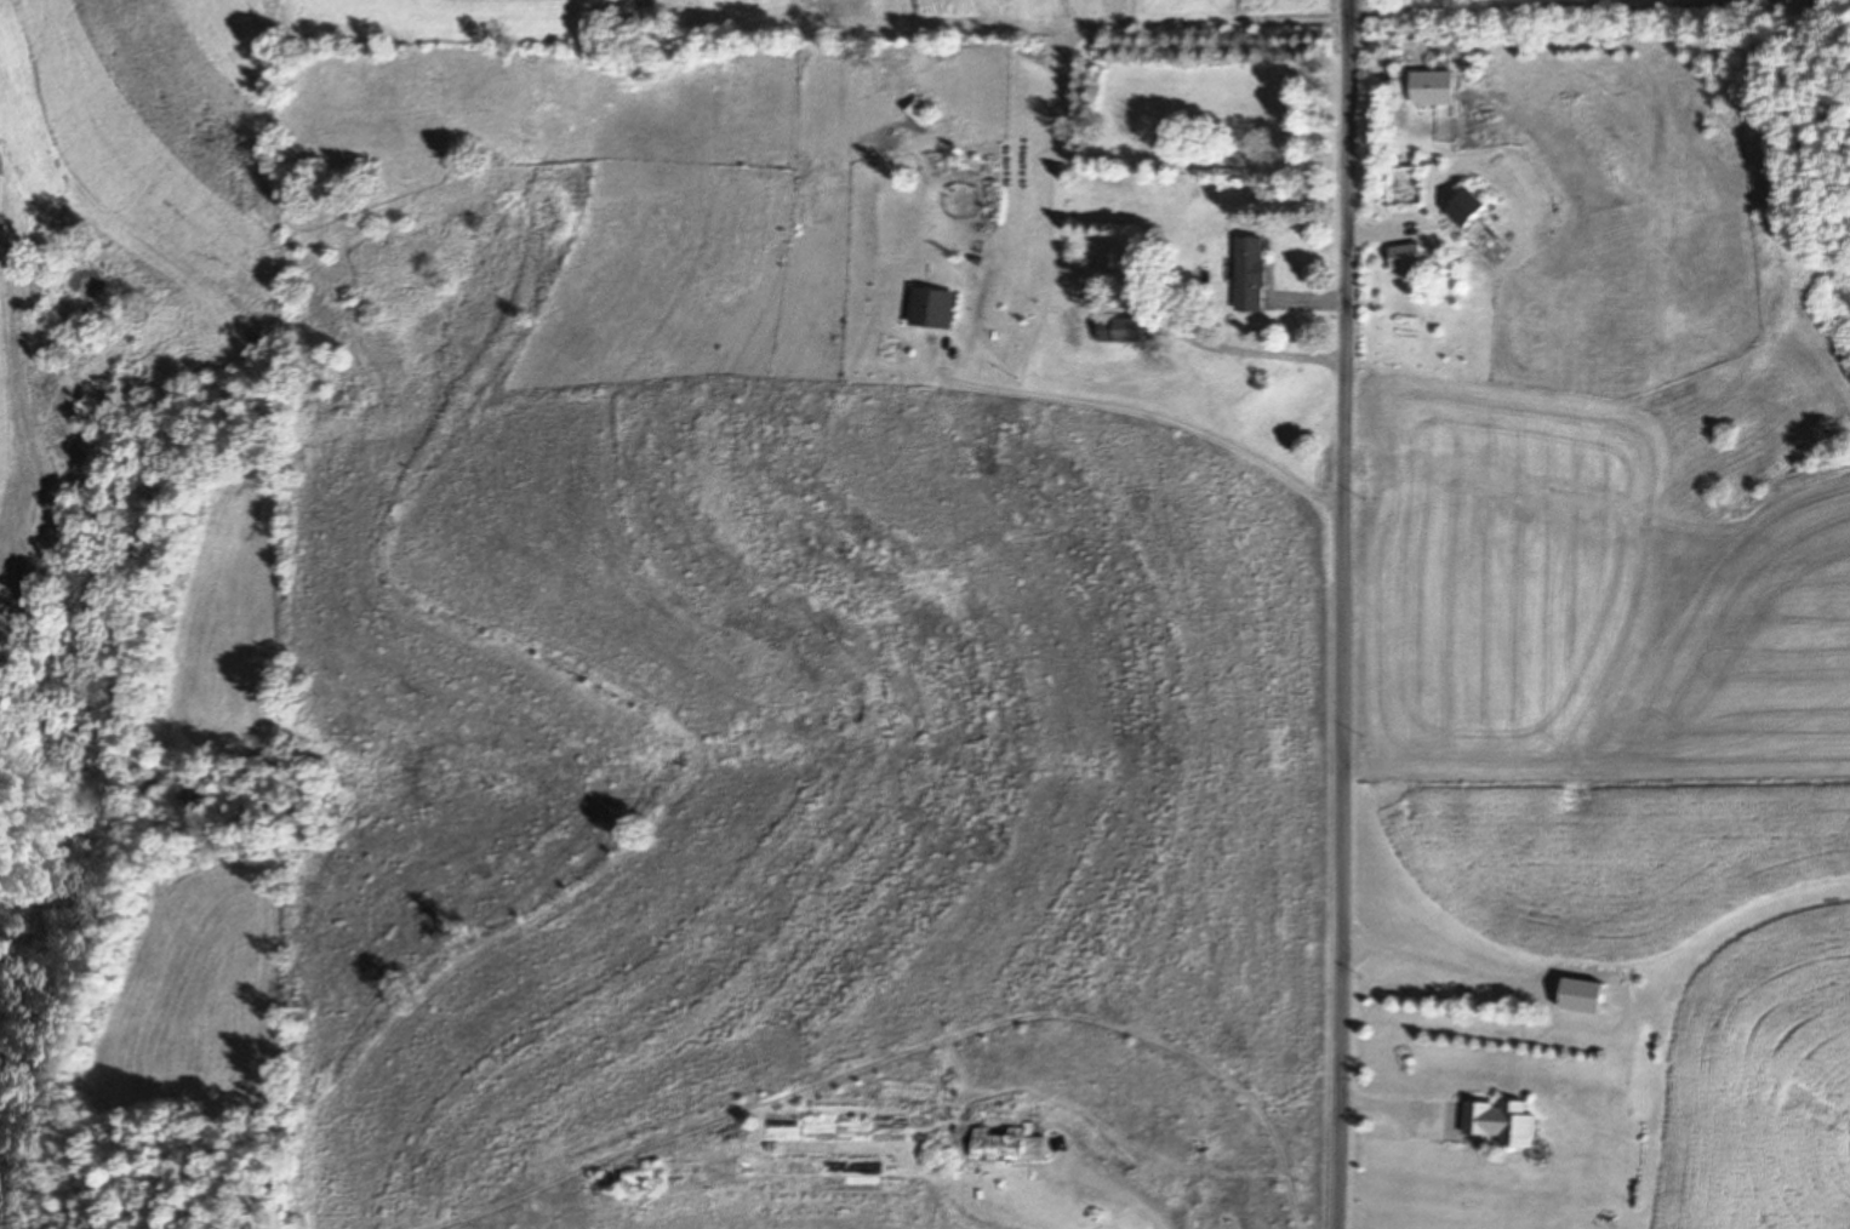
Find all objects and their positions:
road: (1494, 5)
building: (919, 114)
building: (1463, 207)
building: (1405, 255)
building: (1249, 275)
building: (930, 309)
building: (1123, 331)
road: (1144, 408)
road: (1346, 613)
building: (1497, 1122)
building: (1012, 1144)
building: (640, 1177)

